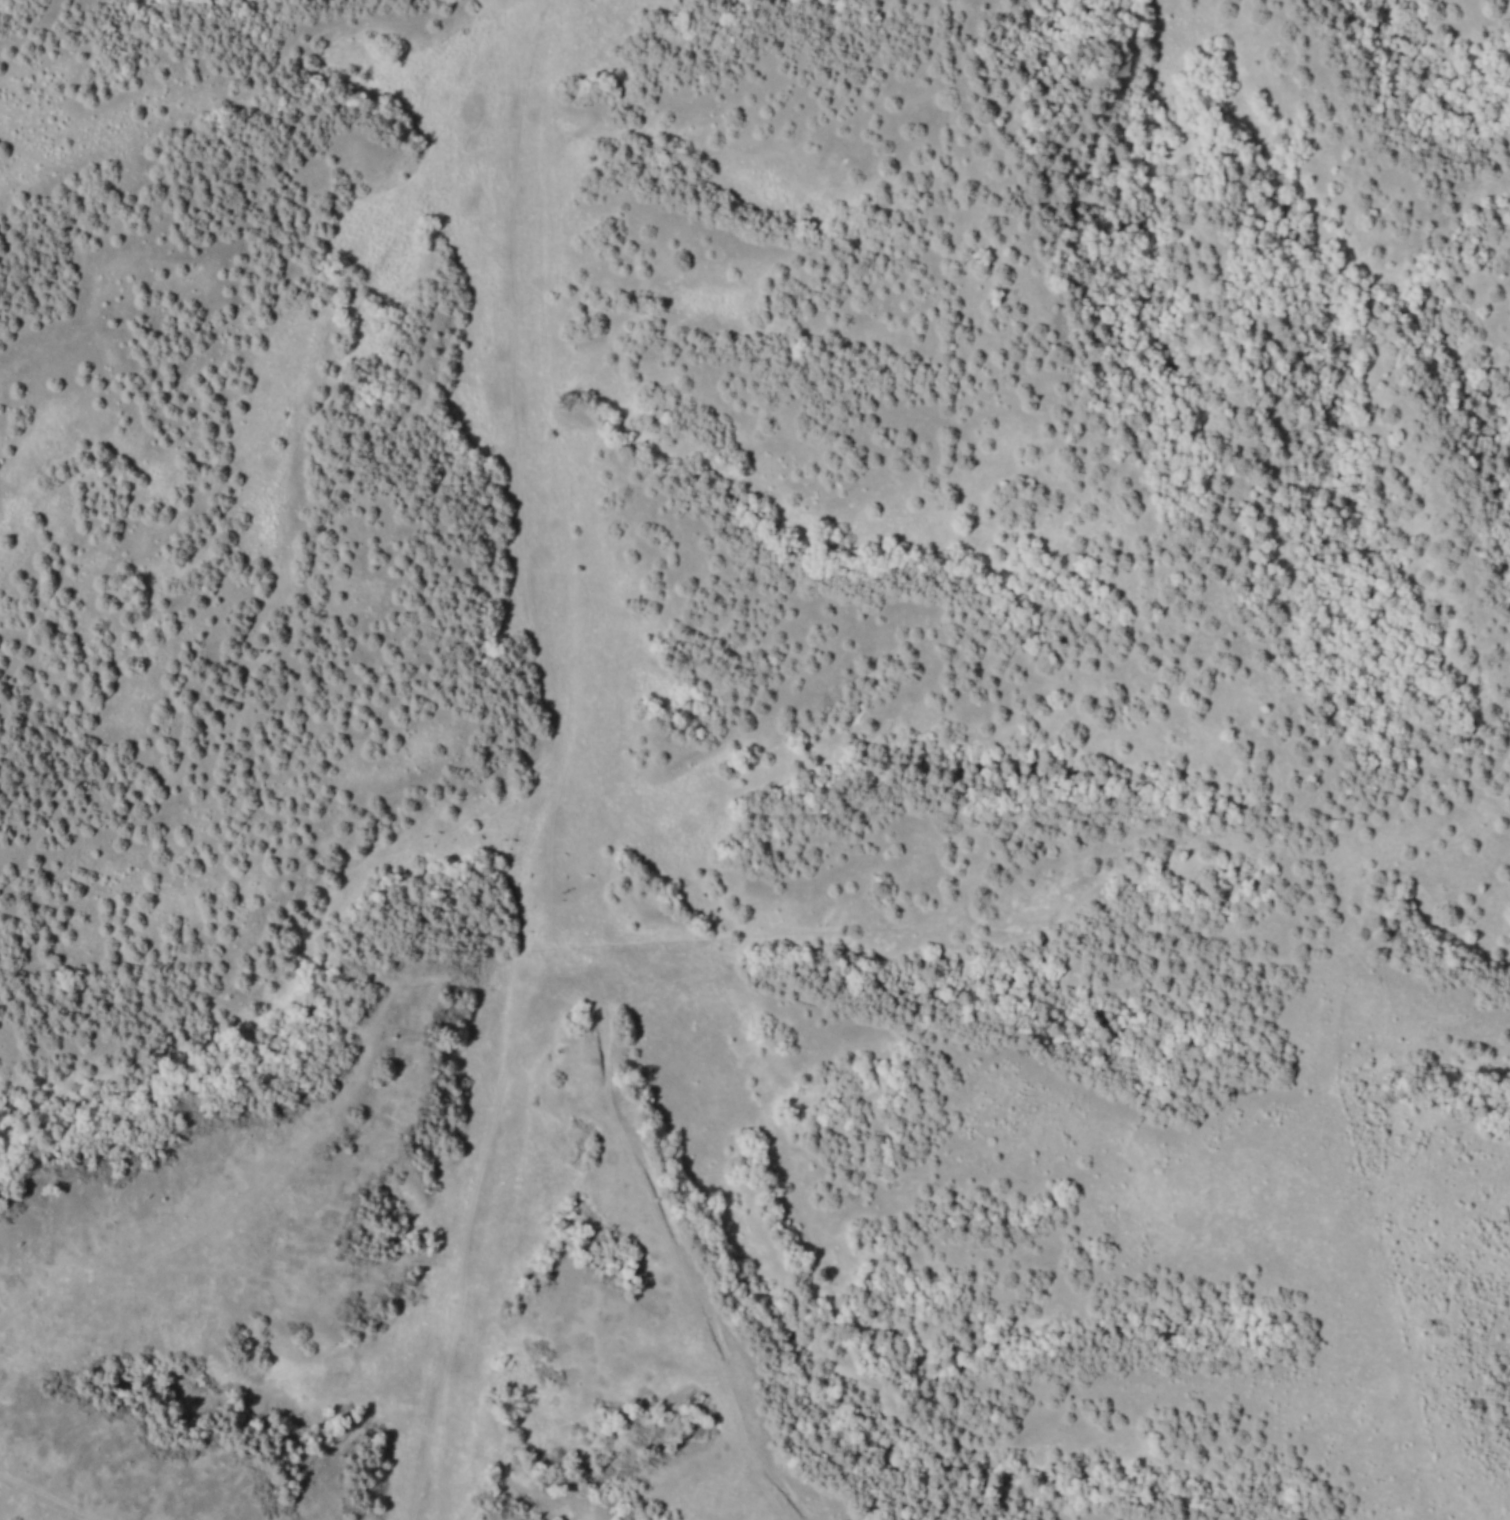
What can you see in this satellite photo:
road: (1405, 1372)

